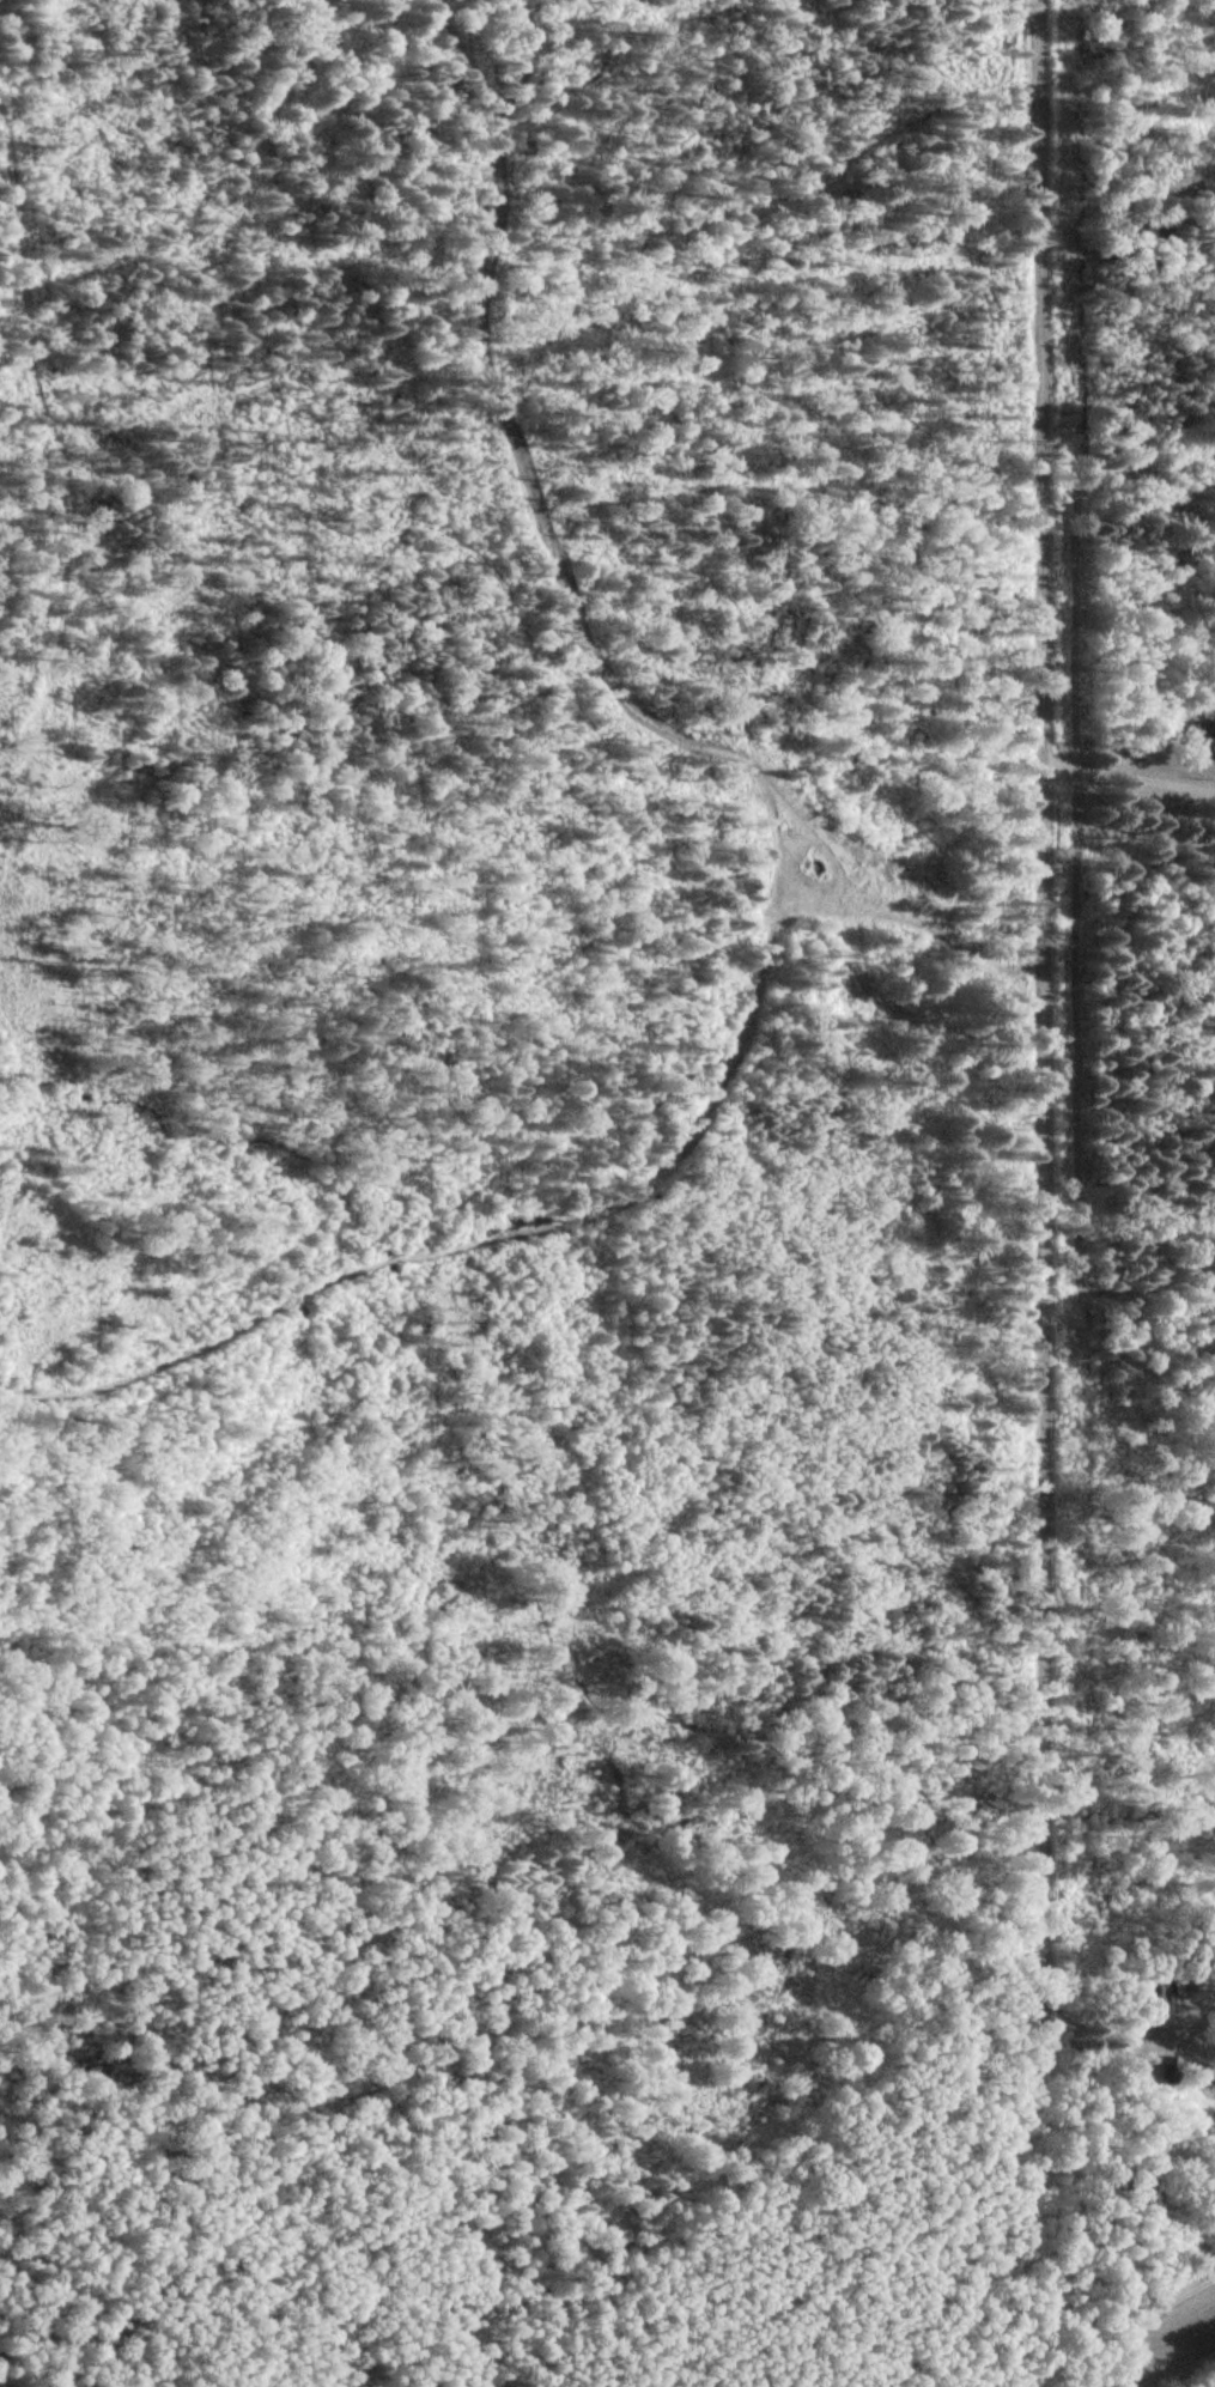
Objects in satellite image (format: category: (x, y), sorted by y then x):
building: (1208, 730)
road: (1050, 1008)
building: (1156, 1991)
road: (1092, 2018)
building: (1173, 2069)

